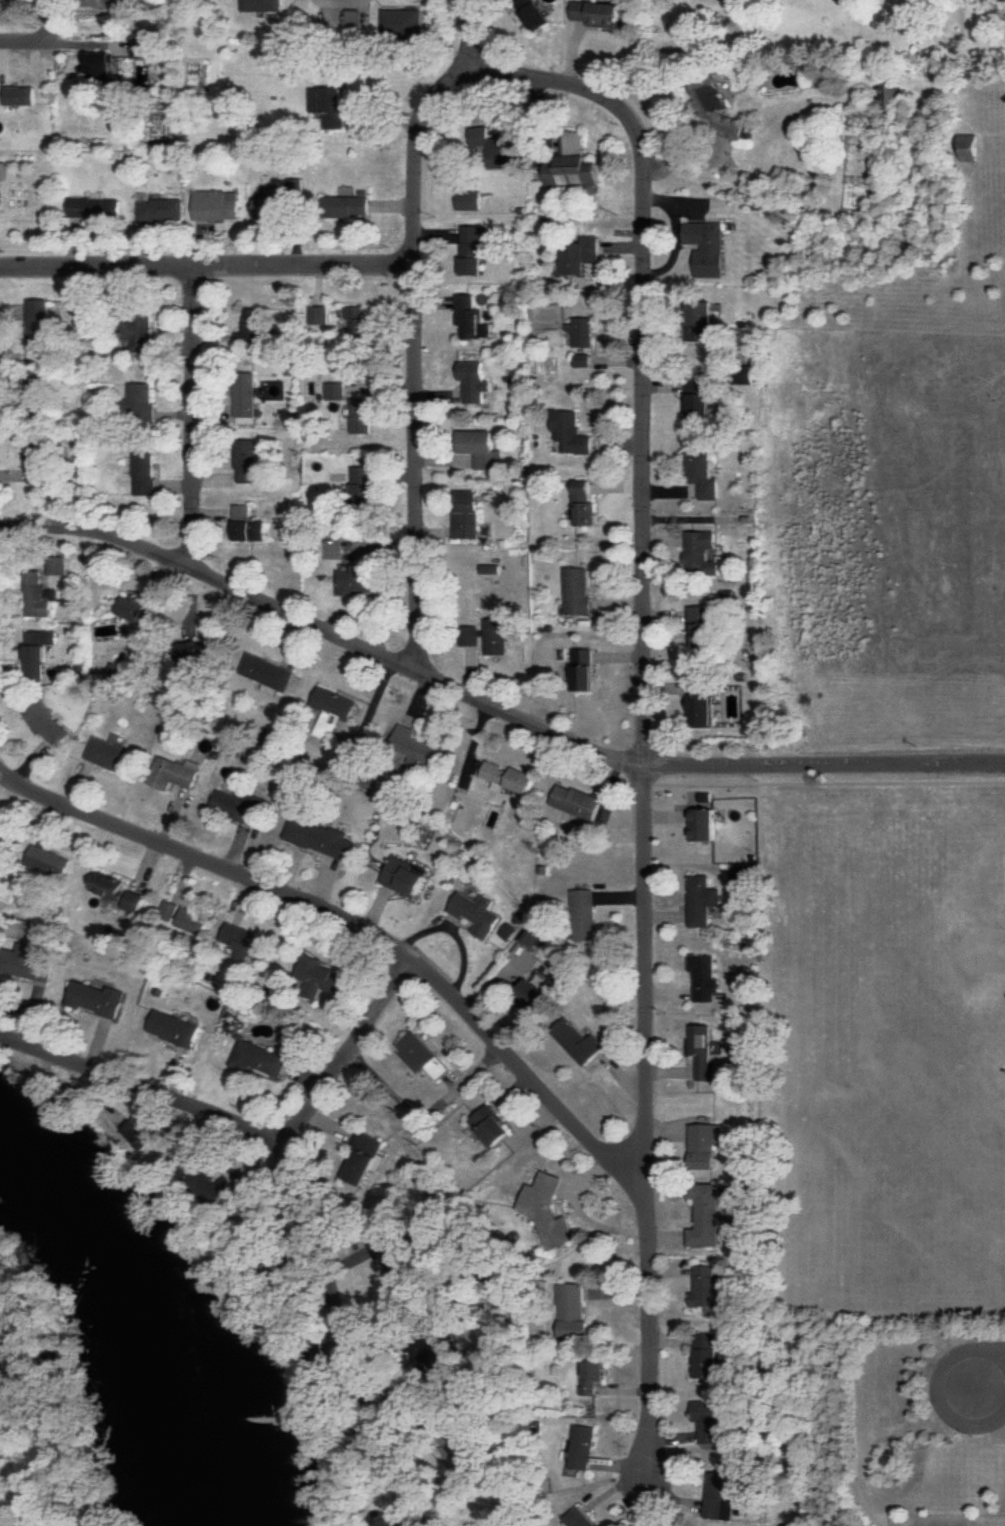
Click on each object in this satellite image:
building: (1002, 0)
building: (108, 5)
building: (261, 5)
building: (531, 13)
building: (597, 13)
road: (55, 18)
building: (402, 22)
road: (474, 36)
road: (25, 38)
building: (142, 48)
building: (98, 63)
building: (20, 95)
building: (890, 95)
building: (328, 105)
building: (716, 107)
building: (967, 147)
building: (494, 148)
building: (572, 164)
building: (293, 186)
building: (467, 199)
building: (215, 204)
building: (346, 205)
building: (92, 206)
building: (264, 208)
building: (159, 209)
building: (706, 247)
building: (472, 248)
building: (579, 254)
road: (206, 268)
building: (318, 314)
building: (471, 318)
building: (700, 320)
building: (357, 322)
building: (38, 325)
building: (251, 326)
building: (138, 331)
building: (583, 331)
road: (415, 359)
building: (582, 360)
building: (743, 373)
building: (473, 380)
building: (334, 390)
building: (245, 397)
building: (699, 397)
building: (140, 400)
building: (361, 415)
road: (196, 418)
building: (571, 432)
building: (480, 448)
building: (247, 461)
building: (35, 464)
building: (145, 473)
building: (702, 473)
building: (362, 486)
building: (584, 503)
building: (466, 514)
building: (247, 524)
building: (701, 553)
building: (57, 564)
building: (356, 580)
building: (578, 590)
building: (39, 595)
building: (131, 607)
building: (700, 624)
building: (470, 635)
building: (496, 636)
building: (38, 652)
building: (194, 654)
building: (583, 669)
building: (117, 672)
building: (268, 672)
road: (491, 701)
building: (701, 702)
building: (333, 710)
building: (42, 717)
road: (646, 728)
building: (416, 747)
building: (108, 753)
building: (174, 772)
building: (509, 776)
building: (576, 801)
building: (240, 805)
building: (703, 824)
building: (2, 837)
building: (321, 837)
building: (49, 861)
building: (405, 875)
building: (109, 885)
building: (702, 899)
building: (134, 901)
building: (170, 910)
building: (476, 912)
building: (584, 914)
building: (194, 921)
road: (359, 925)
building: (508, 931)
building: (536, 936)
building: (245, 942)
building: (26, 962)
building: (705, 976)
building: (322, 978)
building: (538, 991)
building: (97, 998)
building: (175, 1027)
building: (580, 1041)
building: (702, 1049)
road: (352, 1056)
building: (425, 1056)
building: (259, 1058)
road: (145, 1091)
building: (493, 1125)
building: (143, 1133)
building: (705, 1144)
building: (365, 1157)
building: (212, 1183)
building: (549, 1210)
building: (706, 1214)
building: (391, 1259)
building: (707, 1287)
building: (574, 1311)
river: (159, 1312)
road: (352, 1339)
building: (706, 1354)
building: (440, 1357)
building: (592, 1375)
road: (939, 1387)
building: (709, 1421)
building: (582, 1446)
building: (458, 1452)
building: (719, 1496)
building: (579, 1518)
building: (387, 1520)

